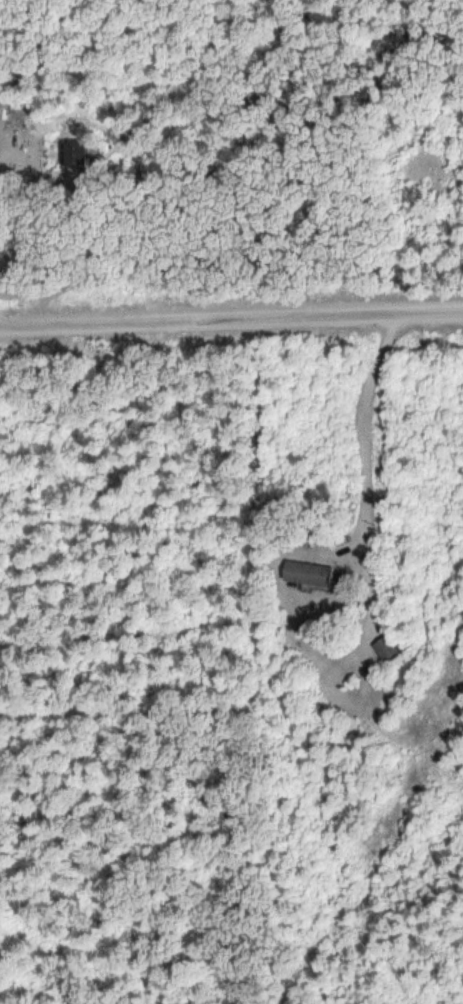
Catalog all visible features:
road: (231, 312)
building: (312, 574)
building: (389, 649)

